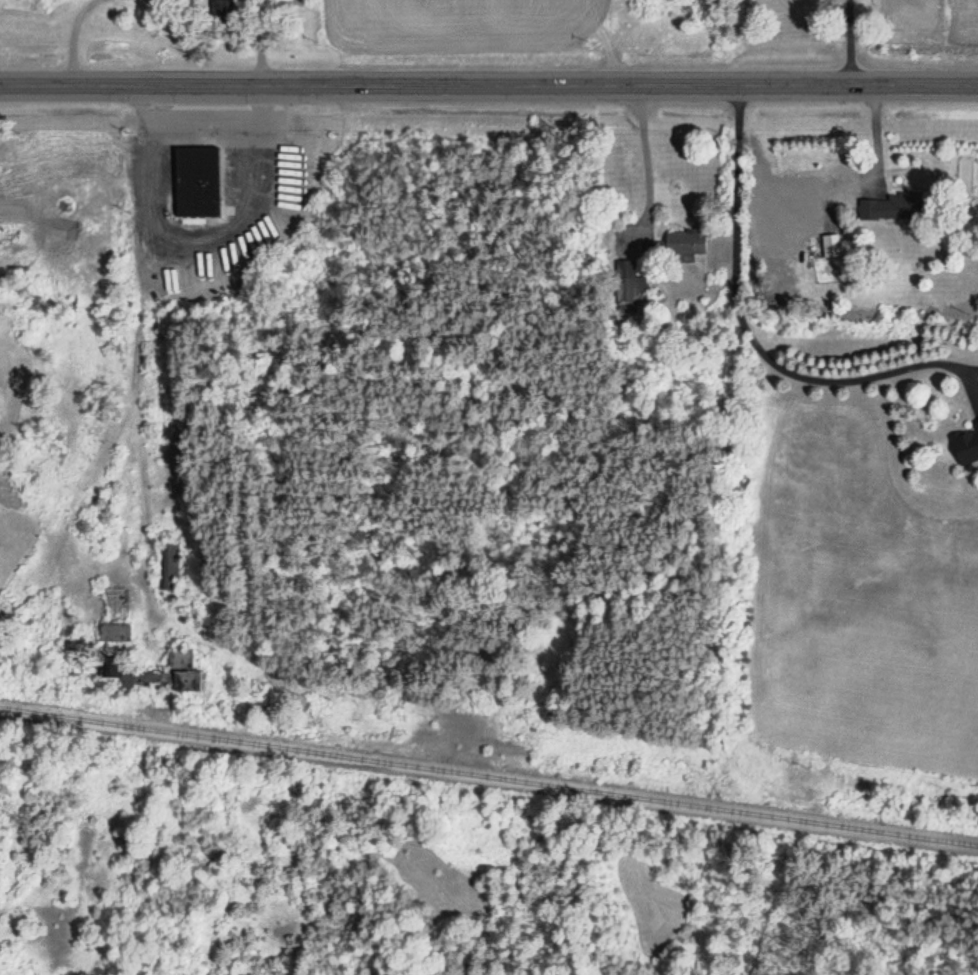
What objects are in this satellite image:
building: (221, 7)
road: (488, 83)
building: (196, 170)
building: (888, 207)
building: (686, 242)
building: (630, 282)
building: (966, 445)
building: (77, 652)
building: (111, 658)
railway: (489, 765)

